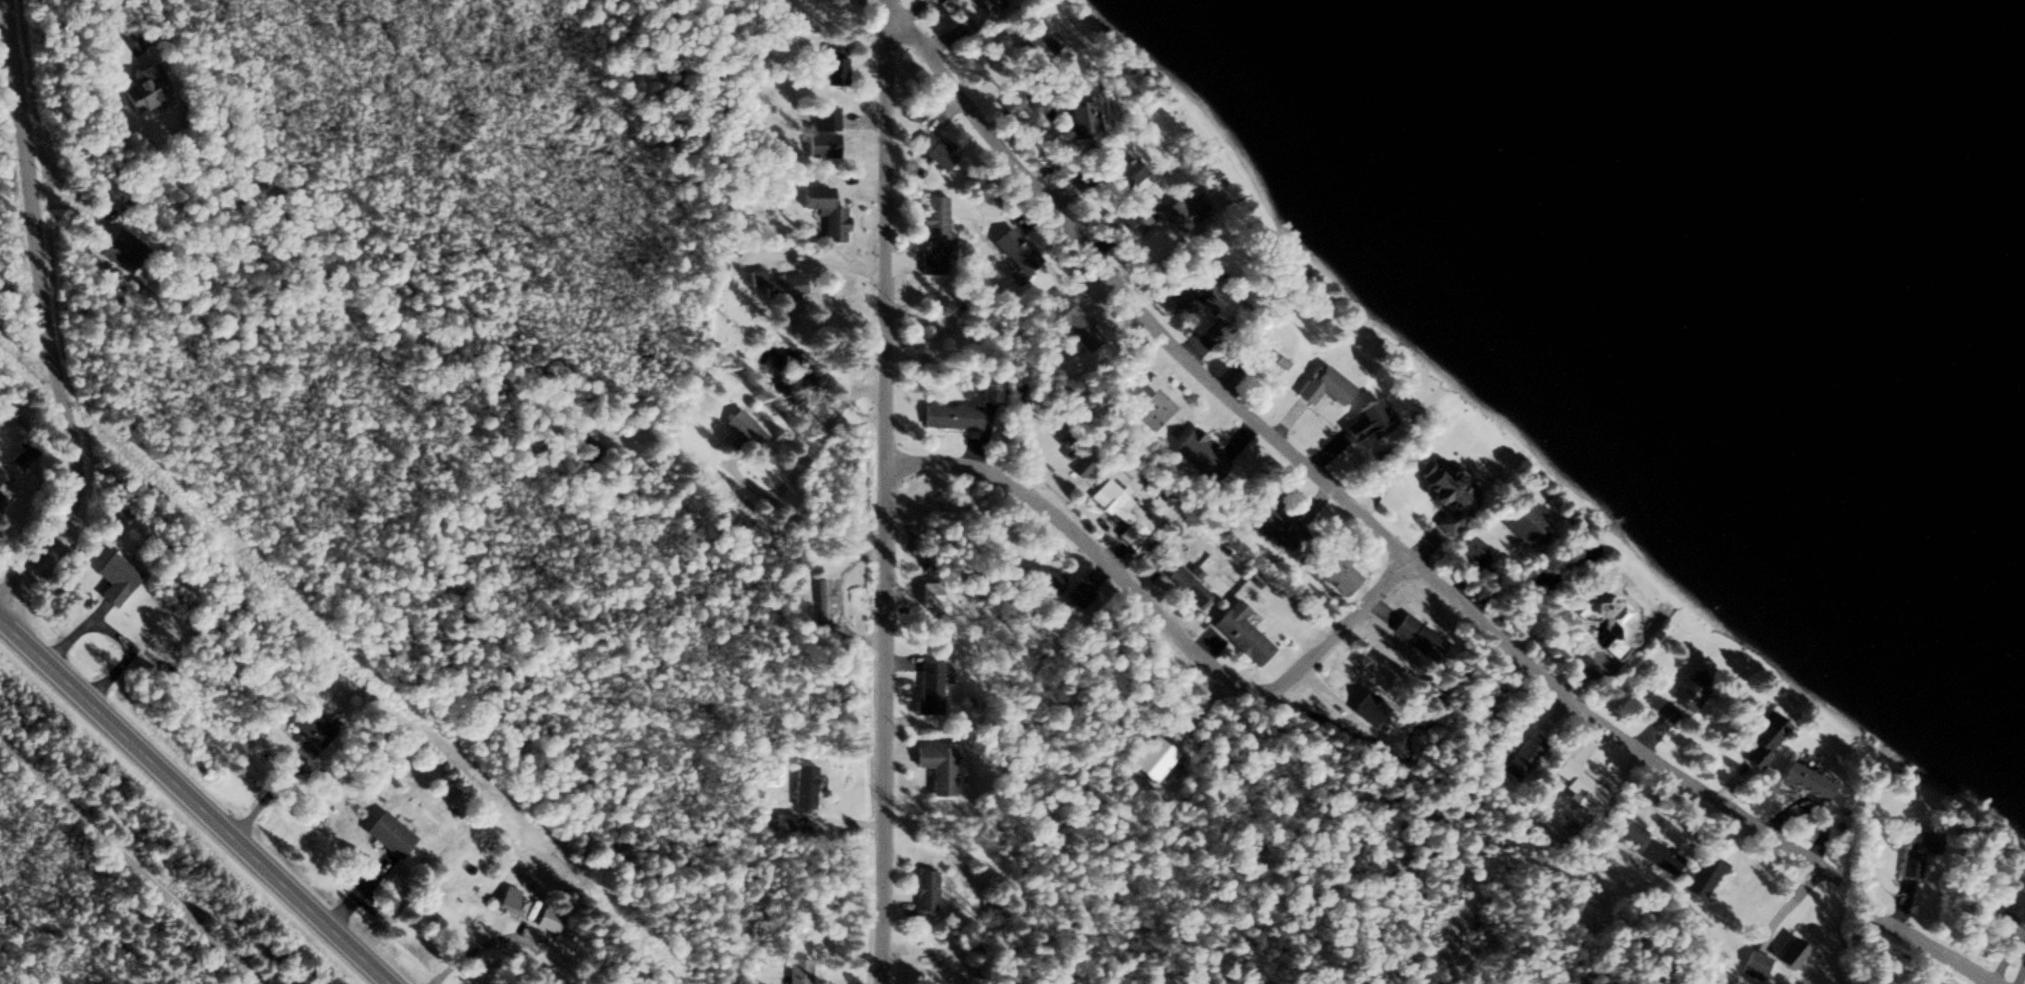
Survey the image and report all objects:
building: (985, 4)
building: (1031, 48)
building: (141, 86)
building: (824, 116)
building: (1078, 118)
building: (819, 143)
building: (931, 149)
building: (1113, 165)
building: (1146, 203)
building: (1176, 209)
building: (822, 211)
building: (932, 228)
building: (122, 245)
building: (1012, 247)
road: (784, 257)
building: (774, 282)
building: (1181, 290)
building: (1210, 297)
road: (44, 313)
building: (1213, 326)
building: (1078, 331)
building: (1267, 350)
building: (1240, 354)
building: (1324, 384)
building: (1132, 387)
building: (983, 391)
building: (949, 414)
building: (1367, 420)
building: (738, 422)
building: (583, 442)
building: (1197, 452)
road: (1327, 477)
building: (1445, 492)
building: (3, 495)
road: (887, 502)
building: (1115, 508)
building: (1264, 517)
building: (1526, 521)
building: (1470, 545)
building: (1329, 566)
building: (1039, 577)
building: (114, 578)
building: (1182, 582)
building: (926, 592)
building: (820, 598)
road: (1157, 616)
building: (1610, 620)
building: (1237, 630)
building: (1414, 634)
building: (926, 686)
building: (1689, 688)
building: (1662, 713)
building: (307, 724)
building: (1762, 737)
building: (1519, 754)
building: (1148, 756)
building: (935, 766)
building: (1802, 776)
building: (1578, 783)
building: (800, 788)
road: (195, 800)
building: (780, 820)
building: (386, 832)
building: (1644, 844)
building: (1911, 847)
road: (127, 865)
building: (1699, 870)
building: (924, 887)
building: (511, 899)
building: (2011, 907)
road: (1914, 936)
building: (1753, 960)
building: (932, 963)
building: (797, 970)

